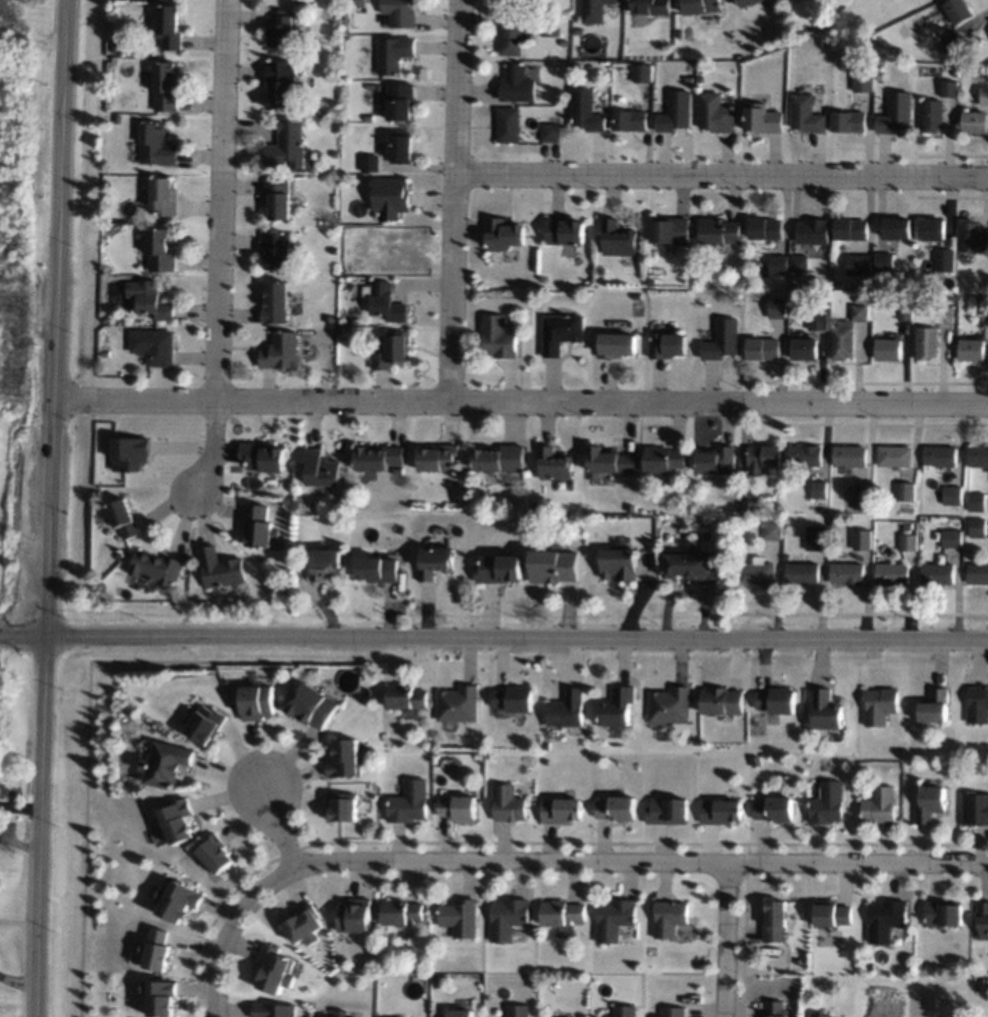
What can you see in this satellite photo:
building: (358, 2)
building: (747, 3)
building: (336, 5)
building: (509, 5)
building: (649, 6)
building: (699, 6)
building: (592, 10)
building: (956, 10)
building: (397, 13)
building: (168, 26)
building: (550, 26)
building: (280, 27)
building: (510, 38)
building: (957, 42)
building: (563, 43)
building: (114, 47)
building: (392, 54)
building: (642, 72)
building: (955, 72)
building: (880, 76)
building: (699, 78)
building: (688, 80)
building: (863, 80)
building: (281, 84)
building: (516, 85)
building: (166, 87)
building: (949, 89)
building: (984, 97)
building: (398, 101)
building: (585, 111)
building: (674, 112)
building: (715, 113)
building: (896, 113)
building: (806, 115)
building: (932, 116)
building: (366, 118)
building: (762, 118)
building: (118, 119)
building: (629, 120)
building: (849, 121)
building: (975, 122)
building: (508, 125)
building: (550, 133)
building: (156, 145)
building: (287, 145)
building: (400, 147)
building: (368, 163)
road: (722, 179)
building: (164, 197)
building: (389, 197)
building: (278, 198)
road: (456, 201)
road: (220, 202)
building: (764, 228)
building: (896, 228)
building: (849, 229)
building: (930, 229)
building: (563, 231)
building: (669, 231)
building: (719, 231)
building: (811, 231)
building: (503, 234)
building: (971, 236)
building: (617, 238)
building: (276, 250)
building: (332, 250)
building: (160, 251)
building: (943, 260)
building: (883, 262)
building: (797, 263)
building: (777, 264)
building: (857, 264)
building: (650, 282)
building: (345, 285)
building: (822, 294)
building: (636, 296)
building: (859, 299)
building: (950, 299)
building: (152, 301)
building: (384, 301)
building: (275, 302)
building: (981, 305)
building: (776, 308)
building: (903, 309)
building: (858, 313)
building: (942, 314)
building: (106, 318)
building: (817, 321)
building: (560, 332)
building: (328, 333)
building: (497, 337)
building: (721, 340)
building: (841, 342)
building: (924, 343)
building: (616, 345)
building: (666, 345)
building: (153, 346)
building: (762, 349)
building: (803, 349)
building: (887, 349)
building: (970, 349)
building: (391, 351)
building: (105, 352)
building: (280, 352)
road: (518, 402)
road: (209, 448)
building: (130, 453)
building: (803, 455)
building: (763, 456)
building: (849, 456)
building: (894, 456)
building: (939, 456)
building: (978, 456)
building: (261, 457)
building: (377, 457)
building: (437, 458)
building: (499, 459)
building: (662, 460)
building: (609, 461)
building: (716, 461)
building: (553, 464)
building: (320, 468)
building: (397, 471)
building: (818, 489)
building: (905, 492)
building: (259, 494)
building: (951, 495)
building: (748, 501)
building: (862, 501)
building: (976, 501)
building: (629, 507)
road: (46, 508)
building: (125, 518)
building: (799, 519)
building: (832, 521)
building: (907, 526)
building: (260, 527)
building: (977, 527)
building: (771, 531)
building: (951, 539)
building: (861, 540)
building: (816, 542)
building: (908, 543)
building: (119, 556)
building: (434, 562)
building: (325, 564)
building: (618, 564)
building: (552, 566)
building: (691, 566)
building: (157, 568)
building: (221, 568)
building: (376, 569)
building: (498, 569)
building: (756, 573)
building: (801, 573)
building: (847, 573)
building: (892, 574)
building: (937, 574)
building: (977, 574)
building: (276, 580)
road: (493, 636)
building: (406, 697)
building: (513, 699)
building: (776, 700)
building: (722, 701)
building: (257, 702)
building: (458, 704)
building: (977, 704)
building: (670, 705)
building: (879, 705)
building: (935, 706)
building: (313, 707)
building: (618, 707)
building: (566, 709)
building: (826, 710)
building: (205, 724)
building: (345, 759)
building: (755, 761)
building: (166, 764)
building: (442, 792)
building: (408, 802)
building: (507, 803)
building: (827, 803)
building: (929, 804)
building: (878, 805)
building: (342, 806)
building: (458, 808)
building: (616, 808)
building: (772, 809)
building: (974, 809)
building: (561, 810)
building: (666, 810)
building: (720, 812)
road: (280, 820)
building: (178, 821)
road: (536, 842)
building: (216, 853)
road: (643, 861)
building: (179, 901)
building: (401, 912)
building: (942, 912)
building: (561, 913)
building: (830, 913)
building: (354, 916)
building: (459, 917)
building: (668, 917)
building: (508, 918)
building: (614, 918)
building: (885, 920)
building: (982, 920)
building: (774, 921)
building: (305, 925)
road: (233, 926)
road: (743, 930)
building: (521, 933)
road: (725, 939)
building: (158, 950)
building: (365, 966)
building: (275, 969)
building: (162, 997)
building: (488, 998)
building: (774, 1009)
building: (274, 1010)
building: (517, 1011)
building: (625, 1011)
building: (673, 1012)
building: (459, 1013)
building: (341, 1014)
building: (819, 1015)

